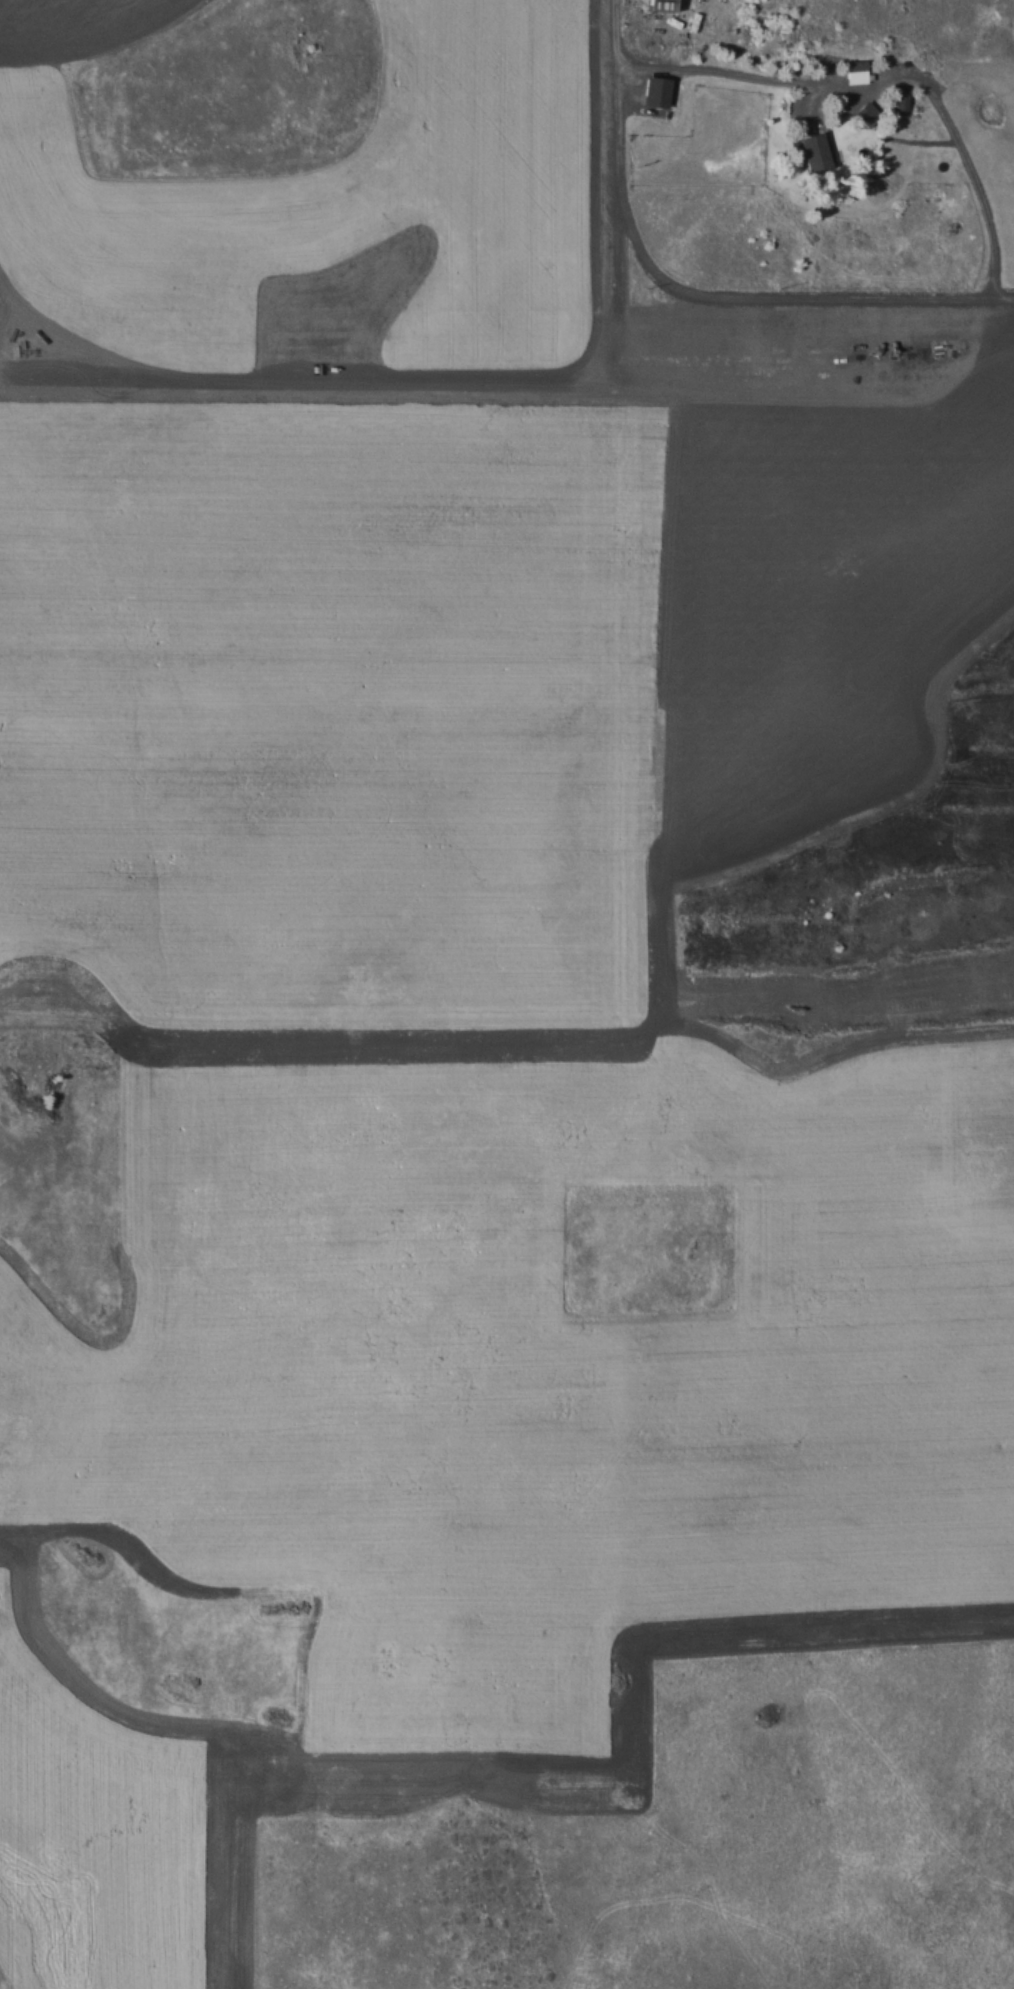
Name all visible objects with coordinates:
building: (659, 5)
building: (856, 72)
building: (900, 101)
building: (867, 113)
building: (814, 151)

